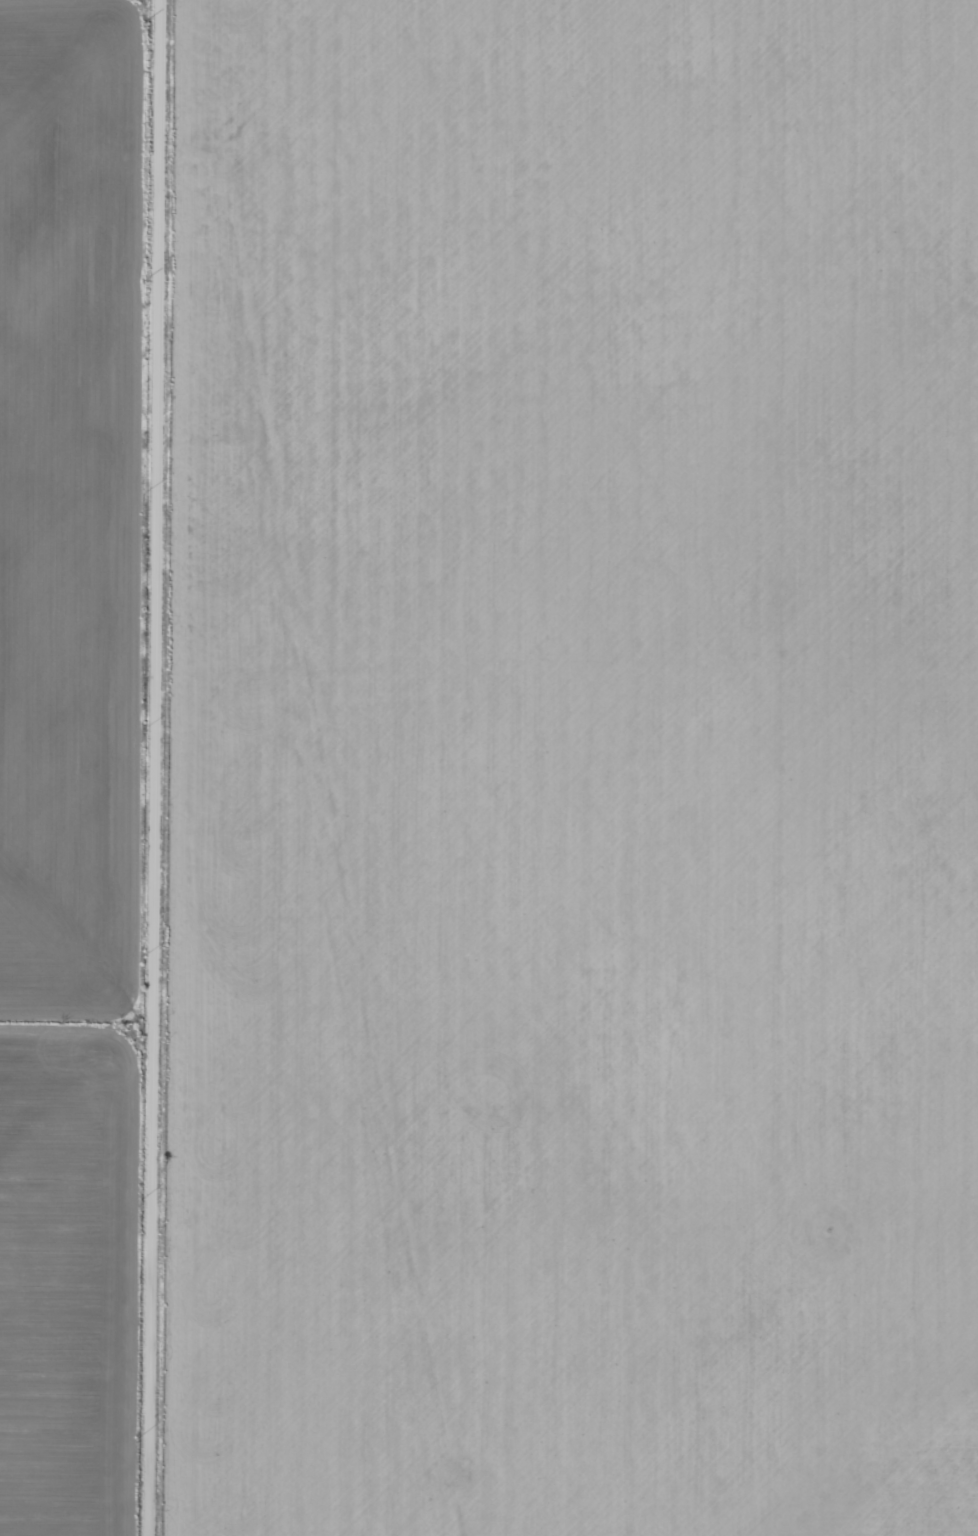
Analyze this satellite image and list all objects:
road: (162, 768)

